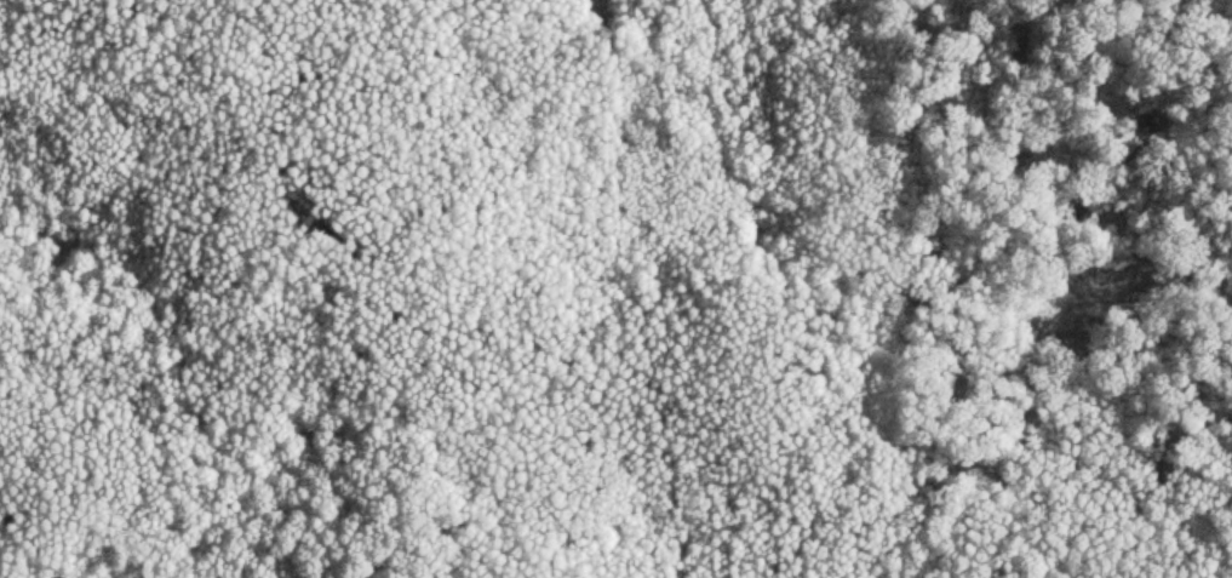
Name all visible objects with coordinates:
road: (609, 11)
road: (646, 299)

